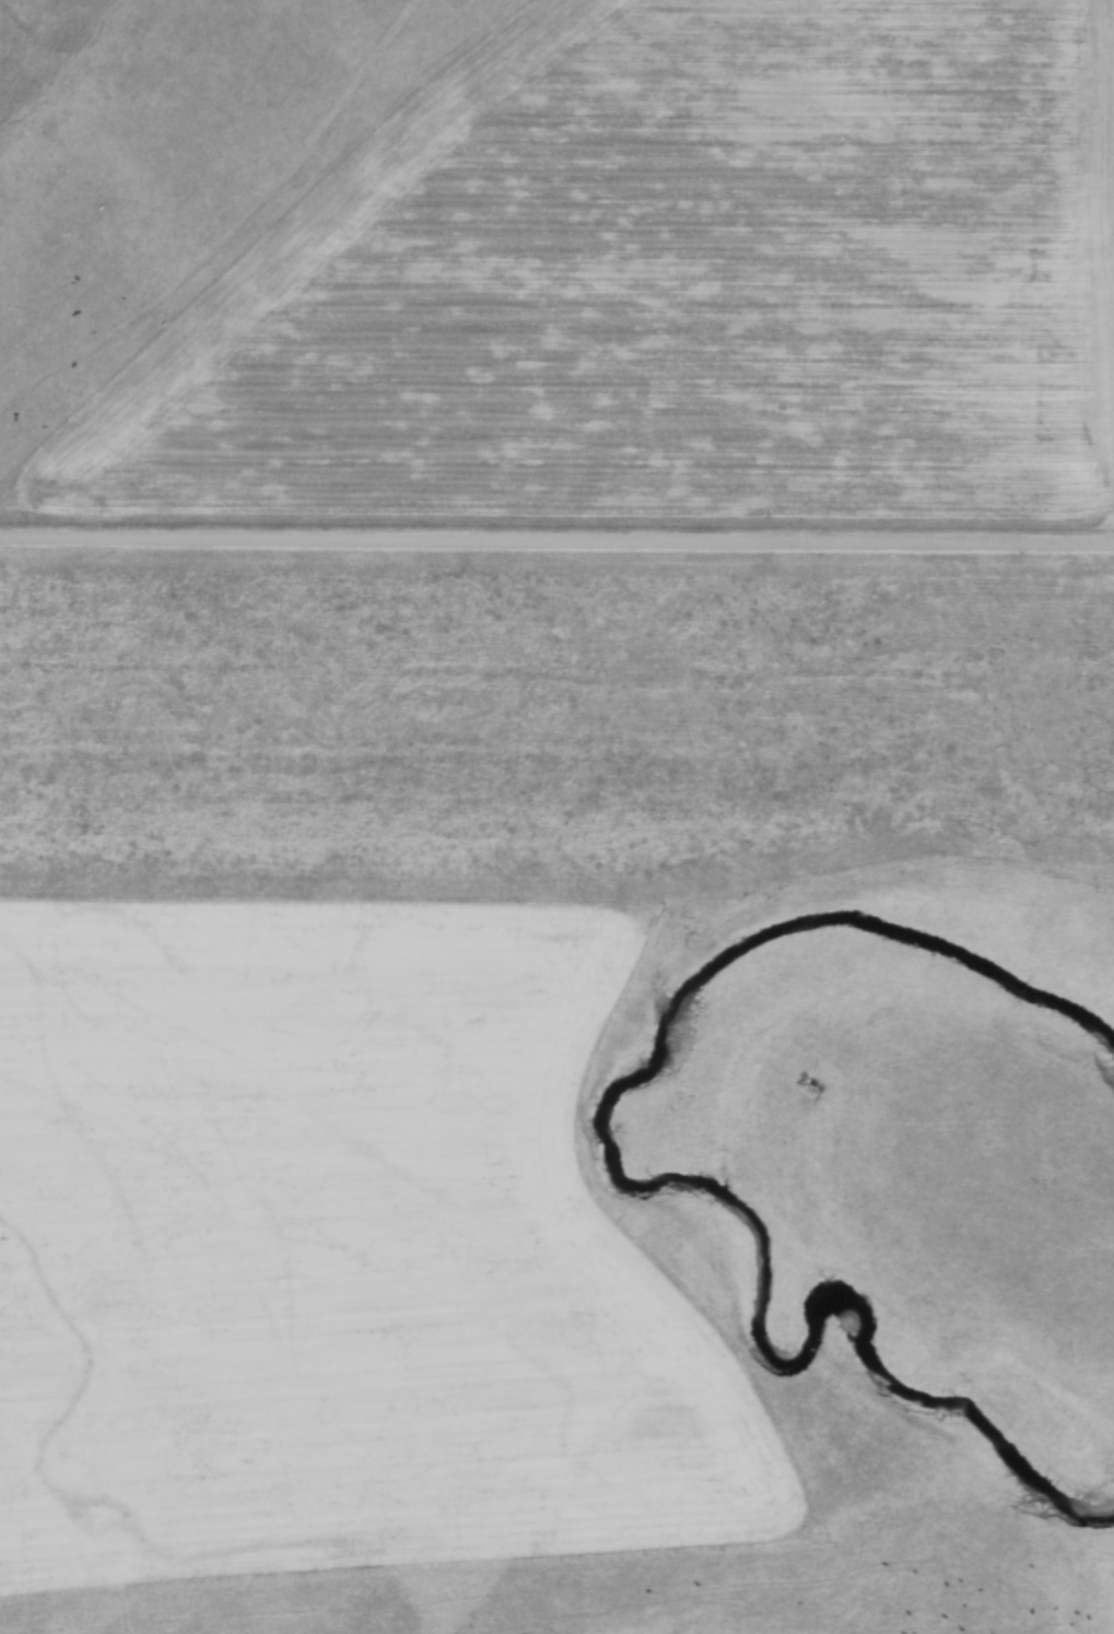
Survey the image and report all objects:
road: (556, 536)

